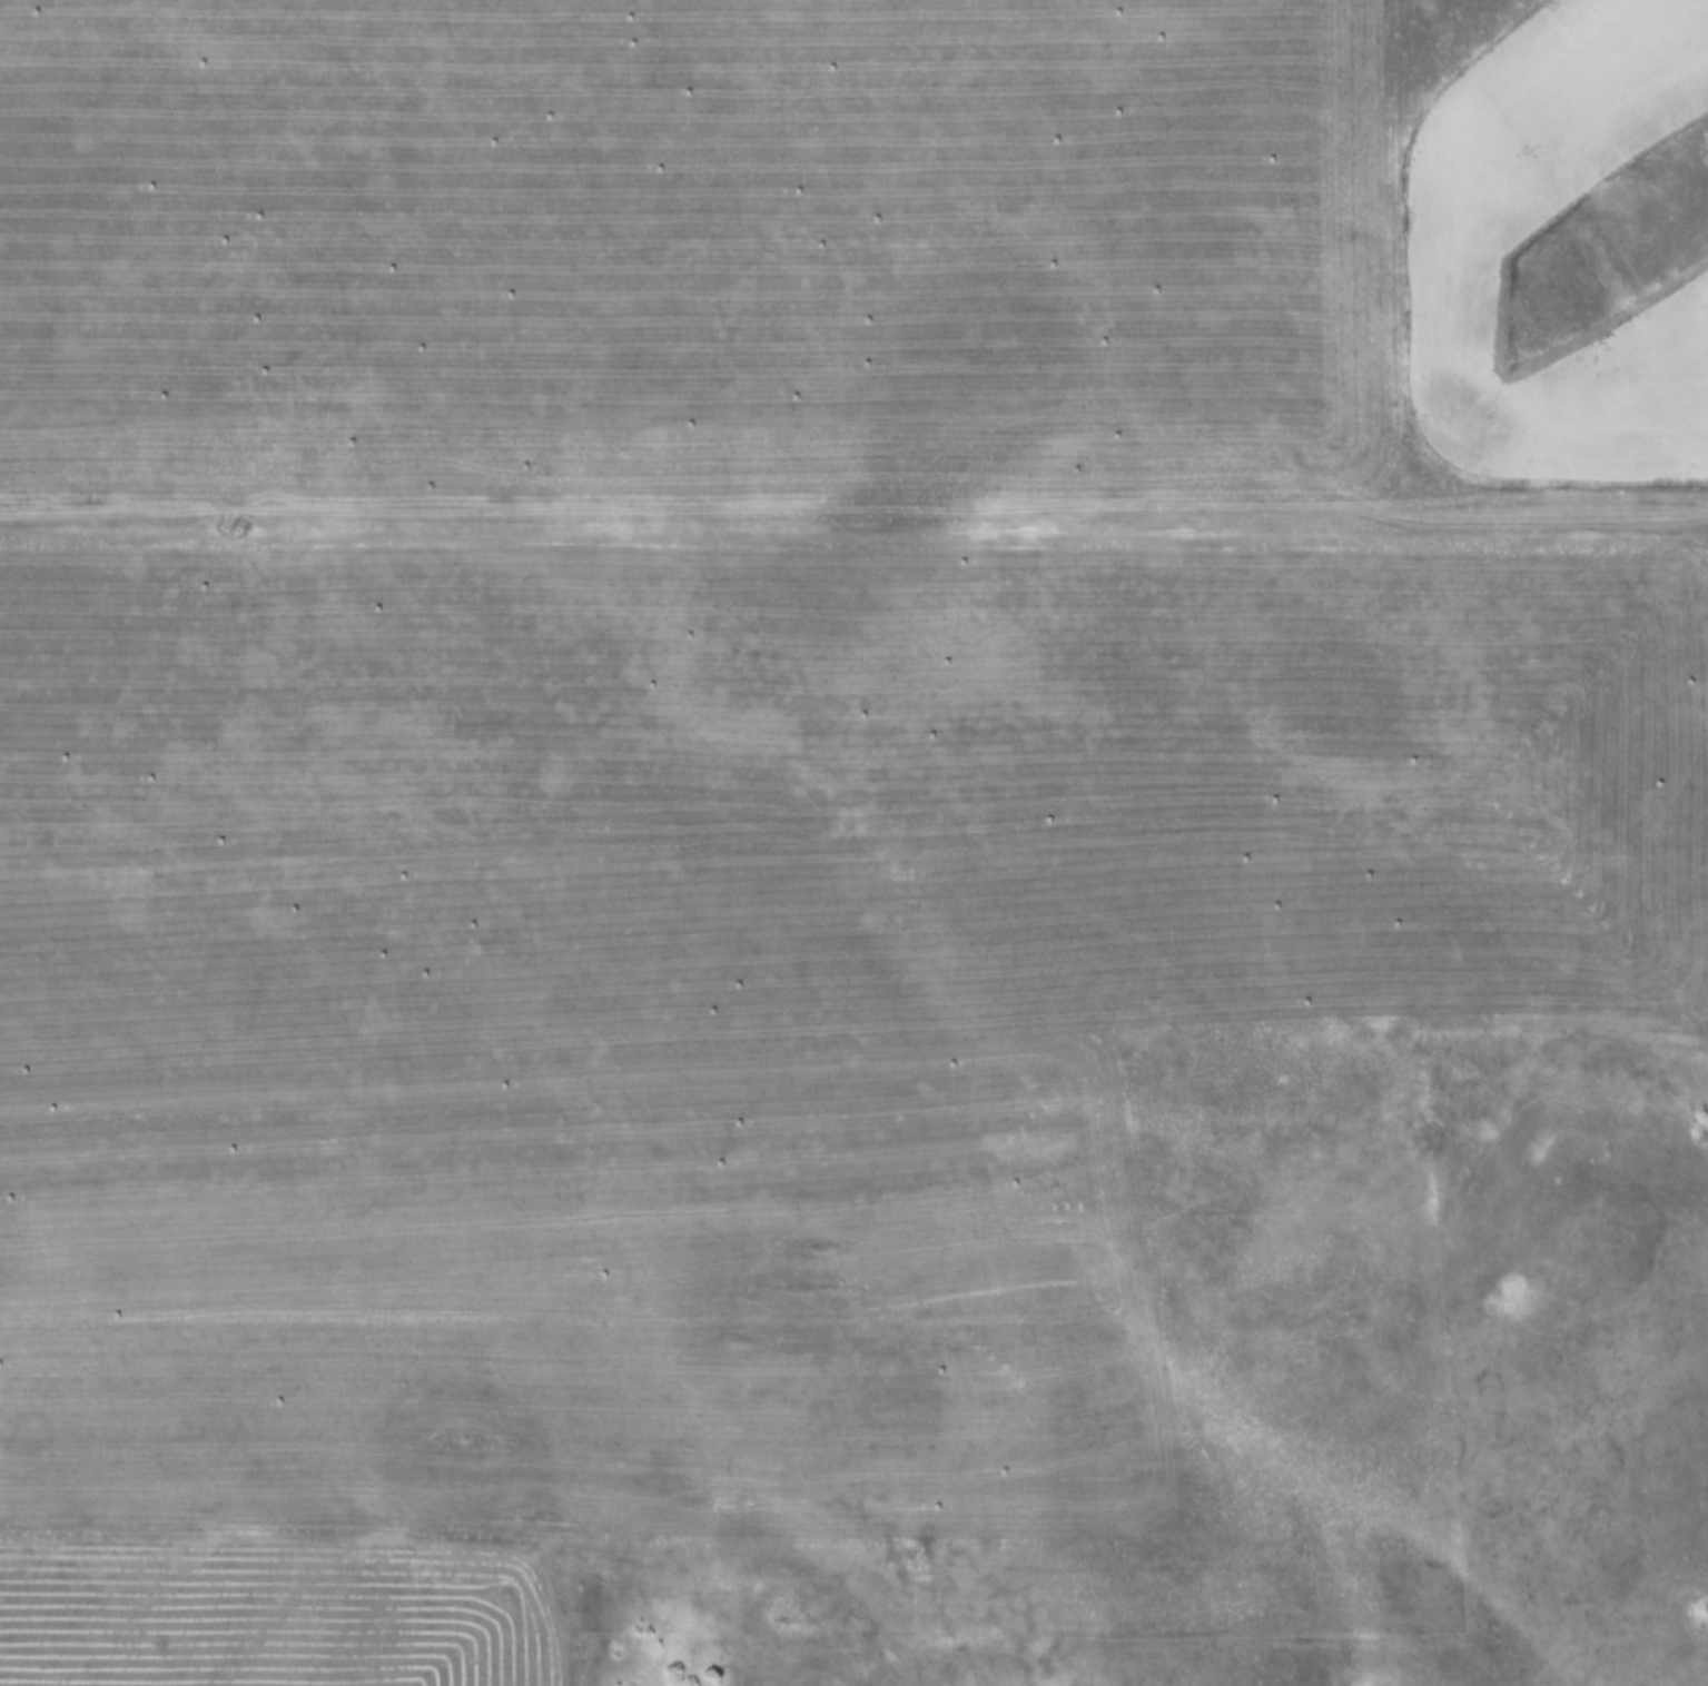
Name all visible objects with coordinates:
road: (853, 513)

